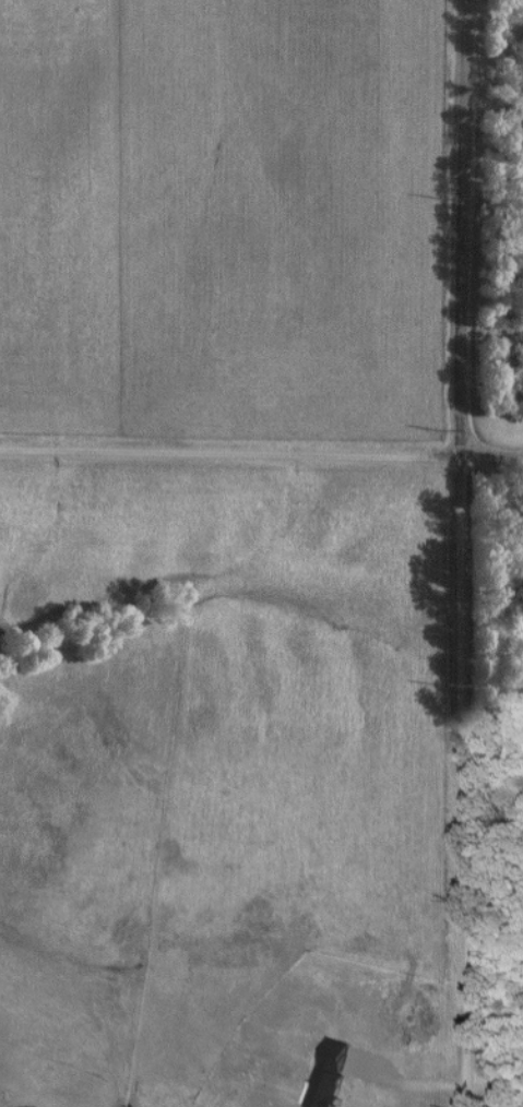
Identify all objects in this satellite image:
road: (261, 455)
road: (461, 552)
road: (408, 1087)

